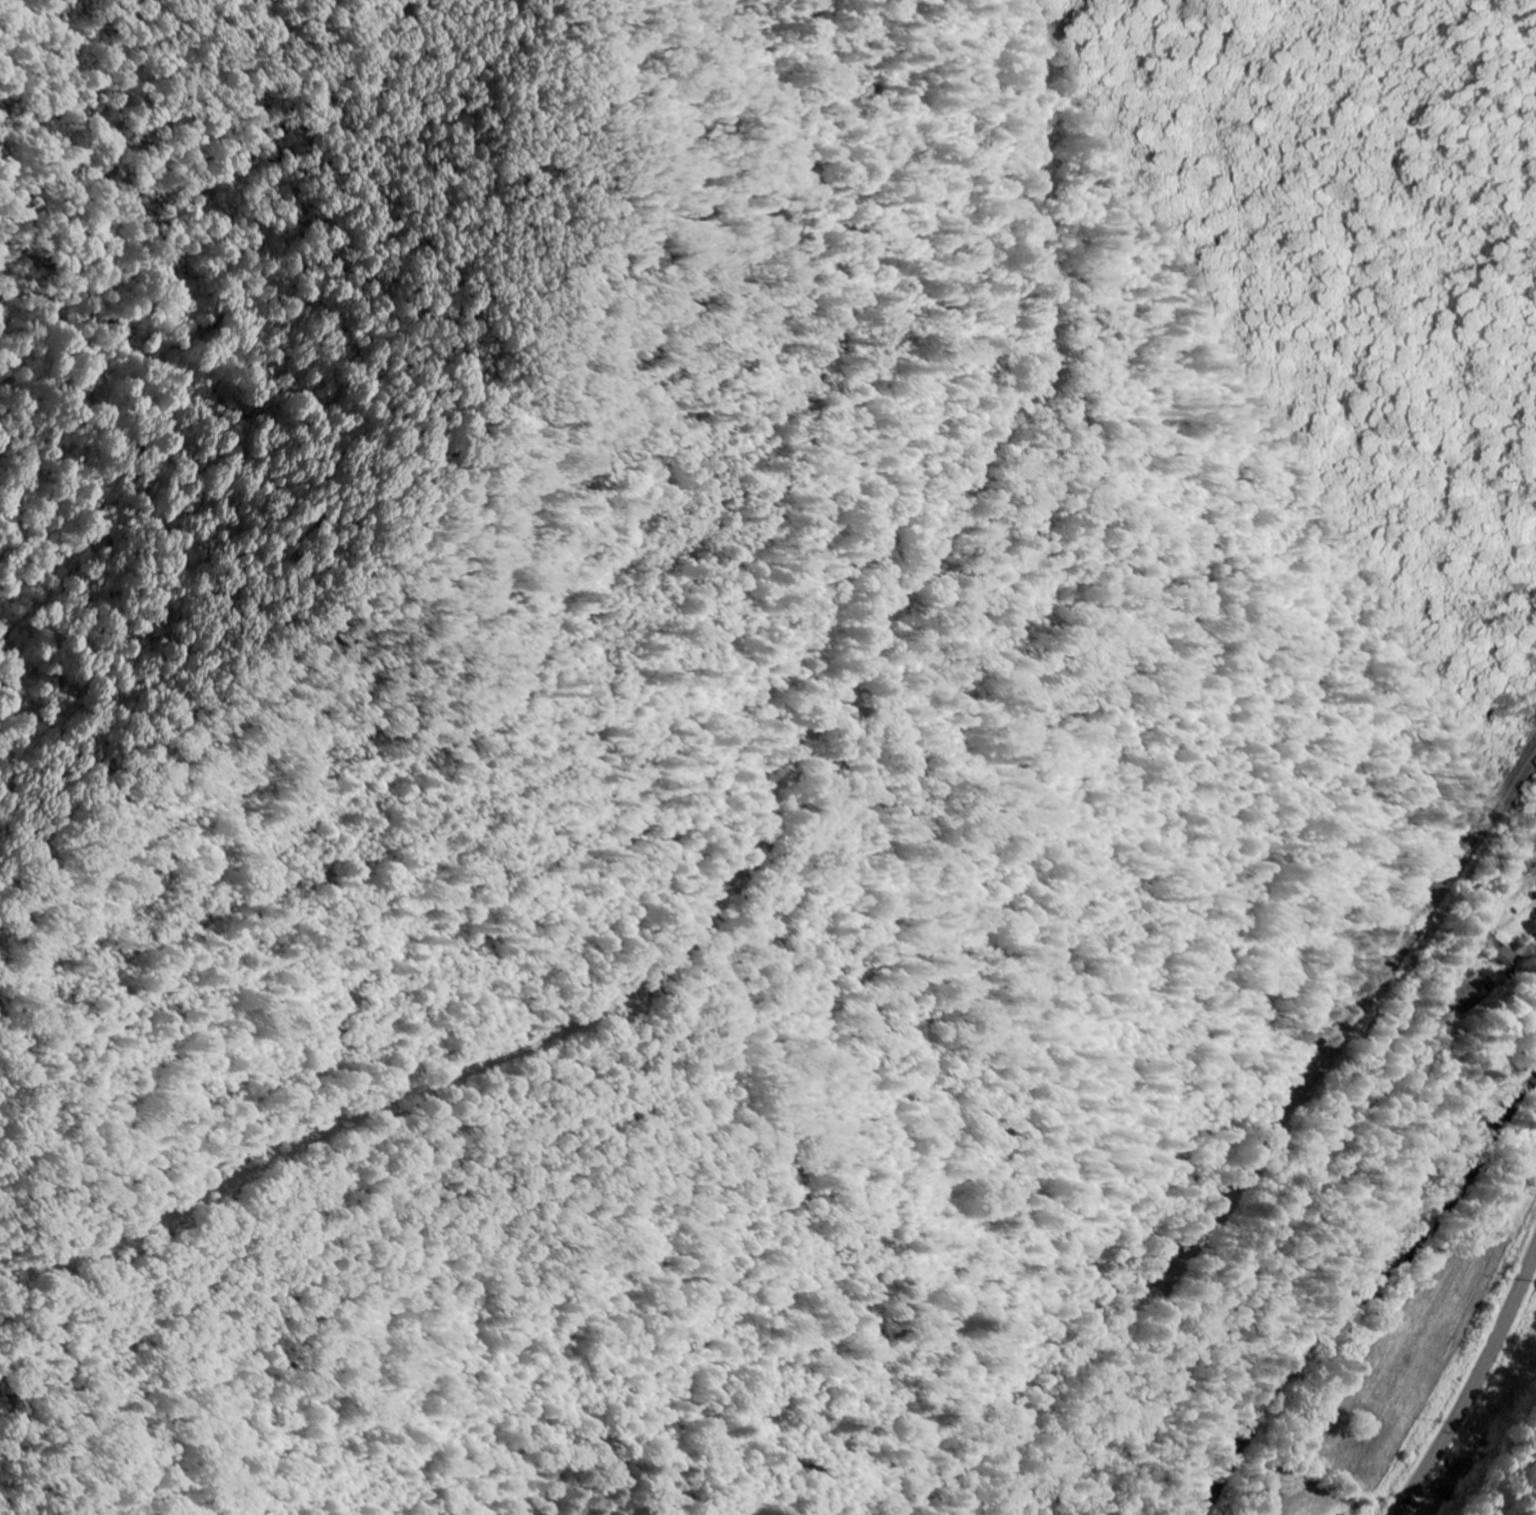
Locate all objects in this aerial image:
building: (1496, 951)
railway: (1365, 1004)
road: (1420, 1110)
road: (1472, 1386)

